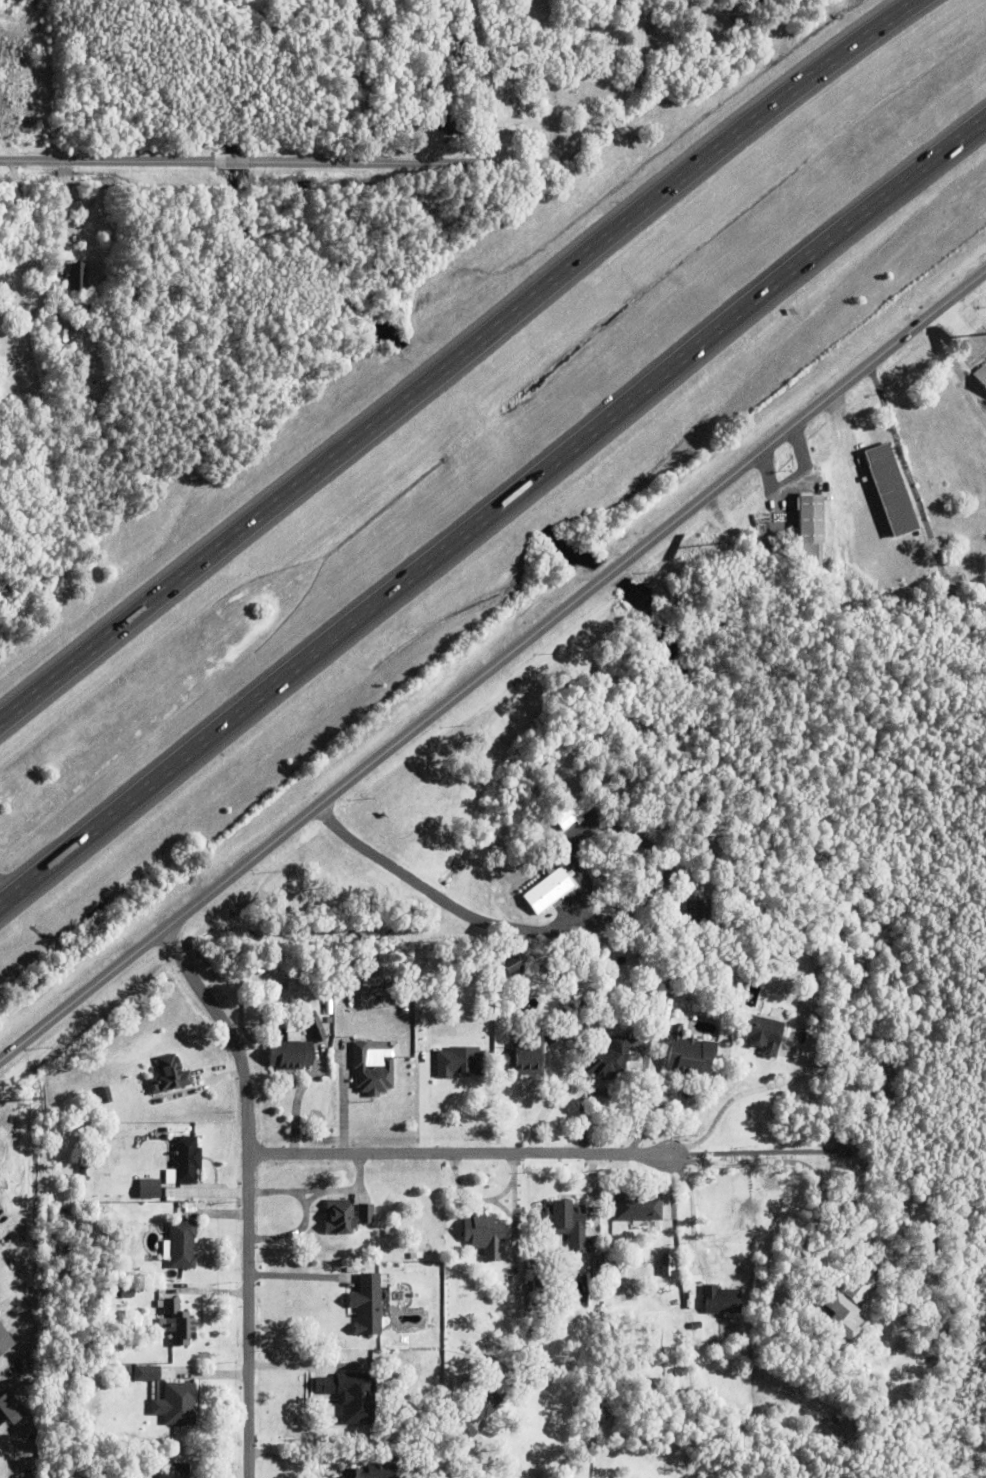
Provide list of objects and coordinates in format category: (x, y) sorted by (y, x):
road: (363, 80)
road: (695, 112)
building: (447, 121)
road: (282, 160)
road: (39, 256)
building: (77, 275)
building: (89, 306)
road: (453, 355)
building: (981, 375)
building: (11, 377)
building: (890, 488)
road: (492, 514)
building: (807, 529)
road: (492, 667)
building: (572, 812)
building: (738, 884)
building: (548, 889)
road: (4, 897)
road: (443, 899)
building: (697, 914)
building: (817, 961)
building: (298, 985)
building: (816, 986)
building: (328, 1007)
building: (409, 1013)
building: (290, 1024)
building: (315, 1029)
building: (762, 1034)
building: (289, 1054)
building: (529, 1055)
building: (688, 1055)
building: (459, 1060)
building: (607, 1060)
building: (371, 1071)
building: (171, 1074)
road: (742, 1093)
road: (460, 1154)
building: (186, 1160)
road: (783, 1161)
road: (250, 1192)
building: (637, 1207)
building: (345, 1217)
building: (564, 1222)
building: (484, 1235)
building: (181, 1245)
building: (821, 1250)
building: (69, 1251)
building: (415, 1255)
building: (536, 1259)
building: (670, 1263)
building: (616, 1267)
building: (596, 1271)
building: (540, 1285)
building: (857, 1285)
building: (126, 1292)
building: (720, 1300)
building: (692, 1301)
building: (793, 1310)
building: (366, 1313)
building: (536, 1314)
building: (178, 1324)
building: (695, 1326)
building: (878, 1340)
building: (4, 1341)
building: (351, 1396)
building: (169, 1398)
building: (11, 1406)
building: (475, 1413)
building: (433, 1429)
road: (489, 1462)
building: (433, 1463)
building: (175, 1471)
building: (372, 1471)

